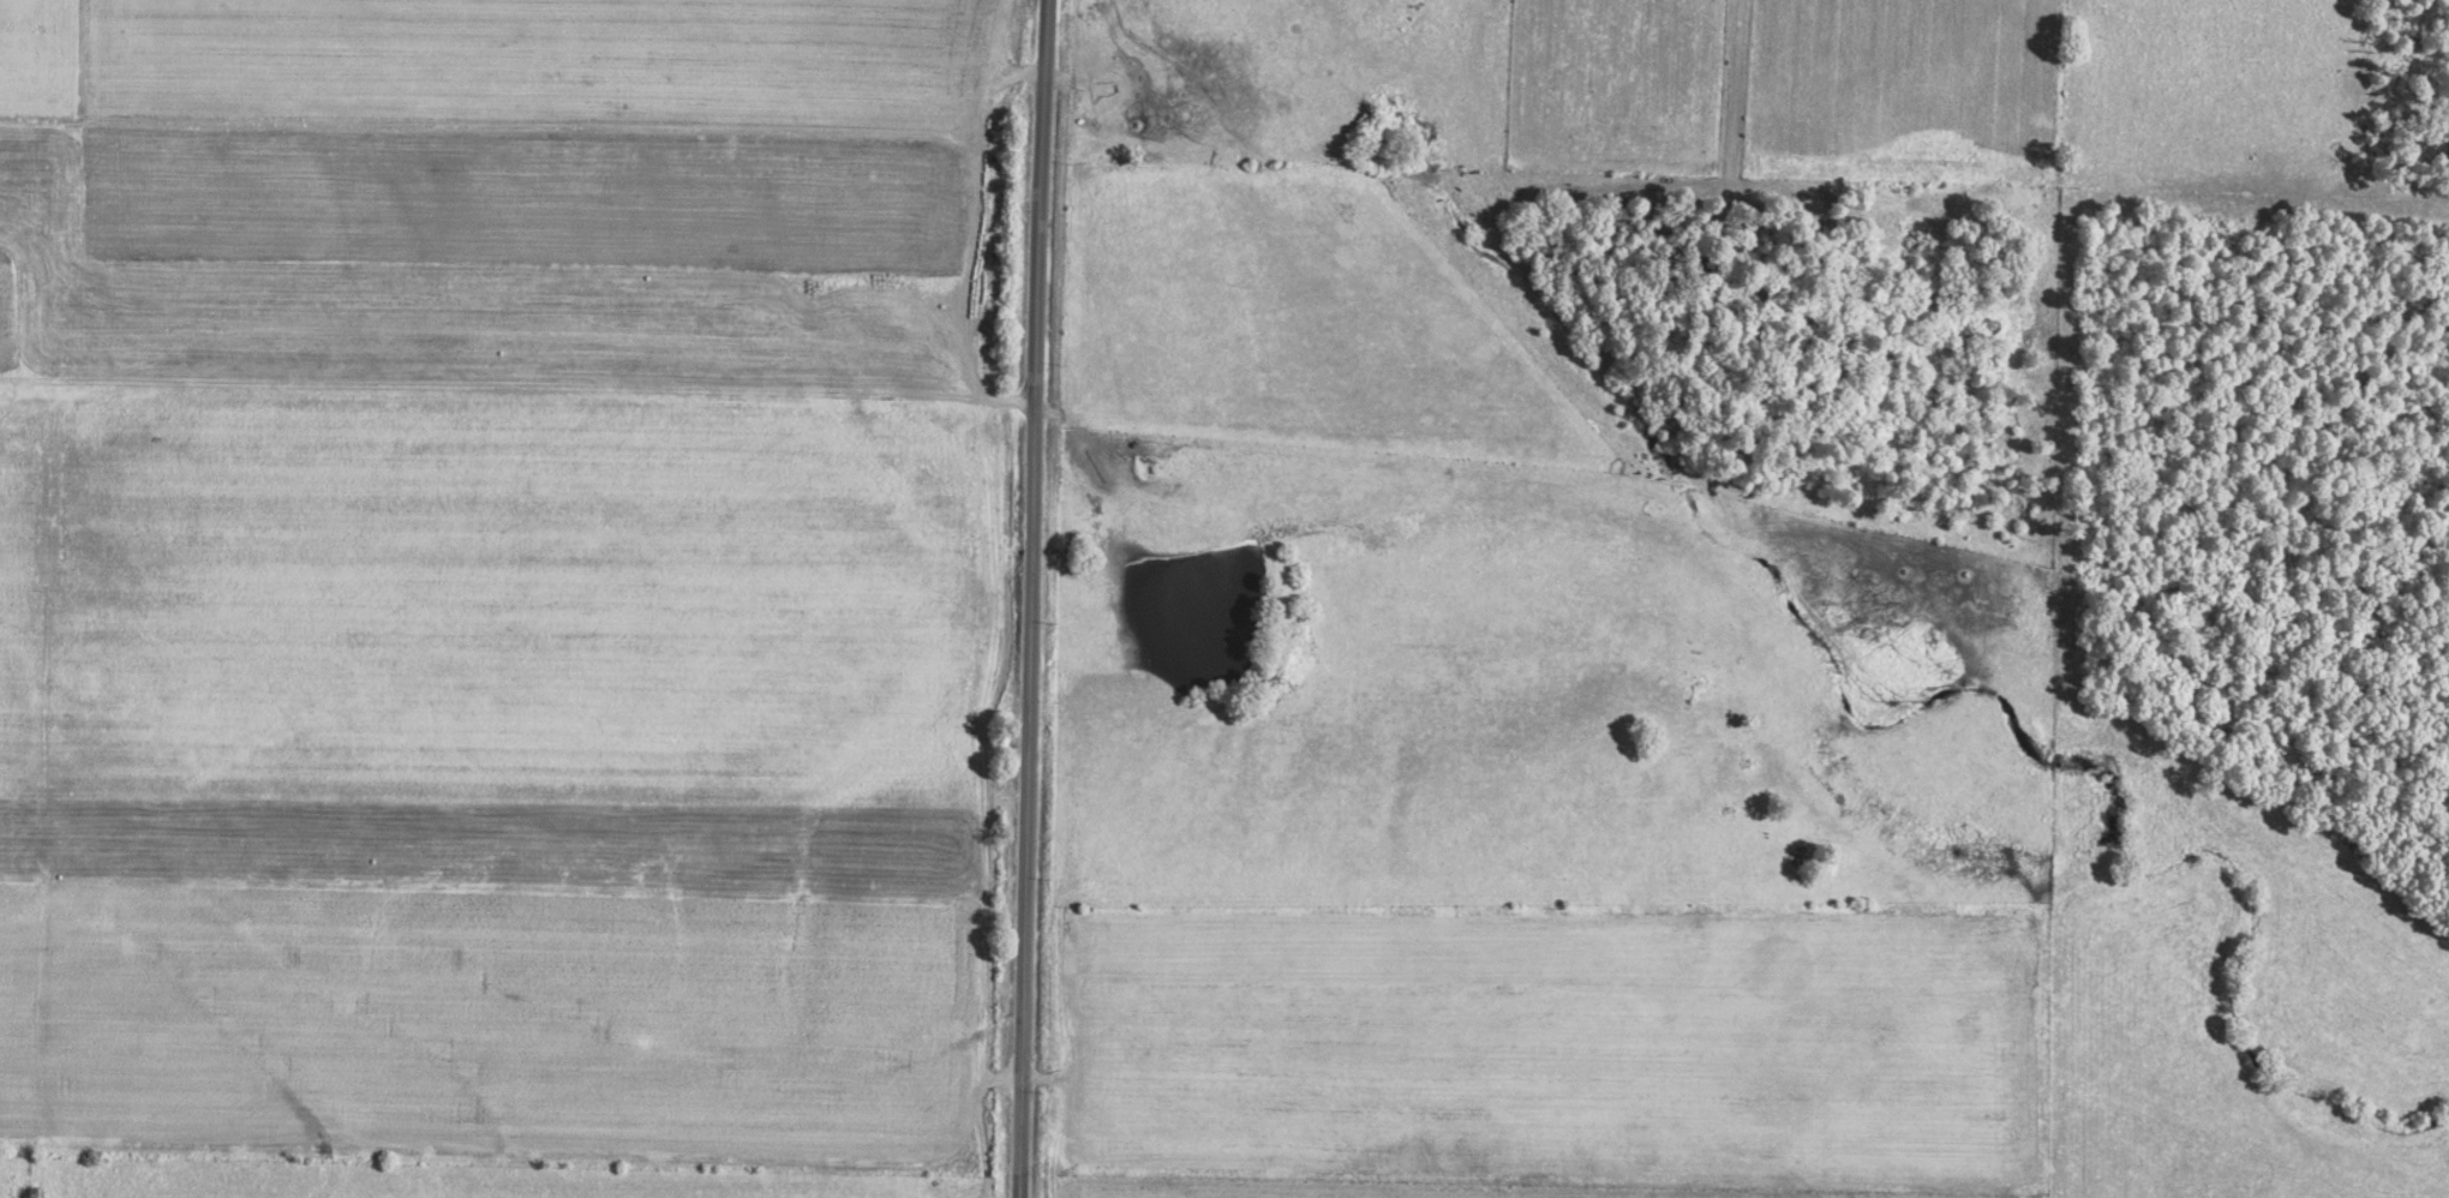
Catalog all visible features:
road: (1030, 598)

